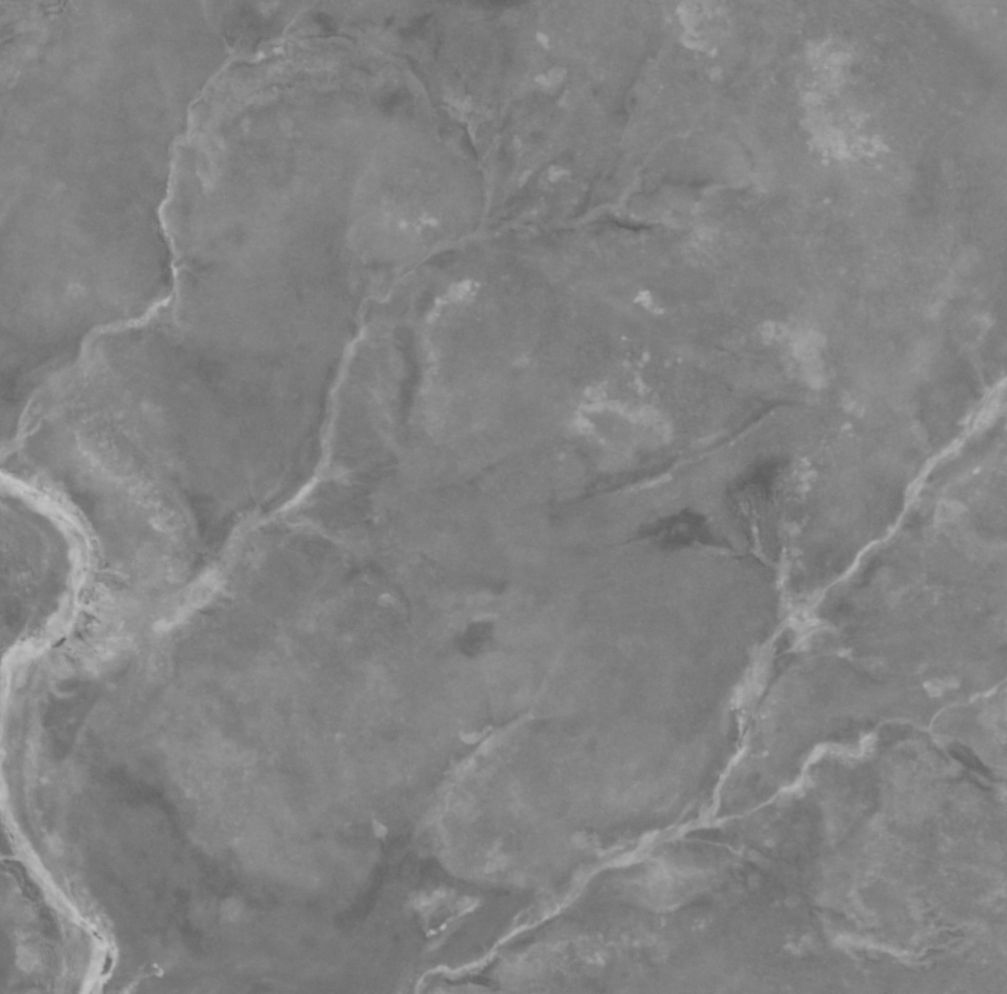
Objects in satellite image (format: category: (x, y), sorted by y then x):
power tower: (56, 8)

